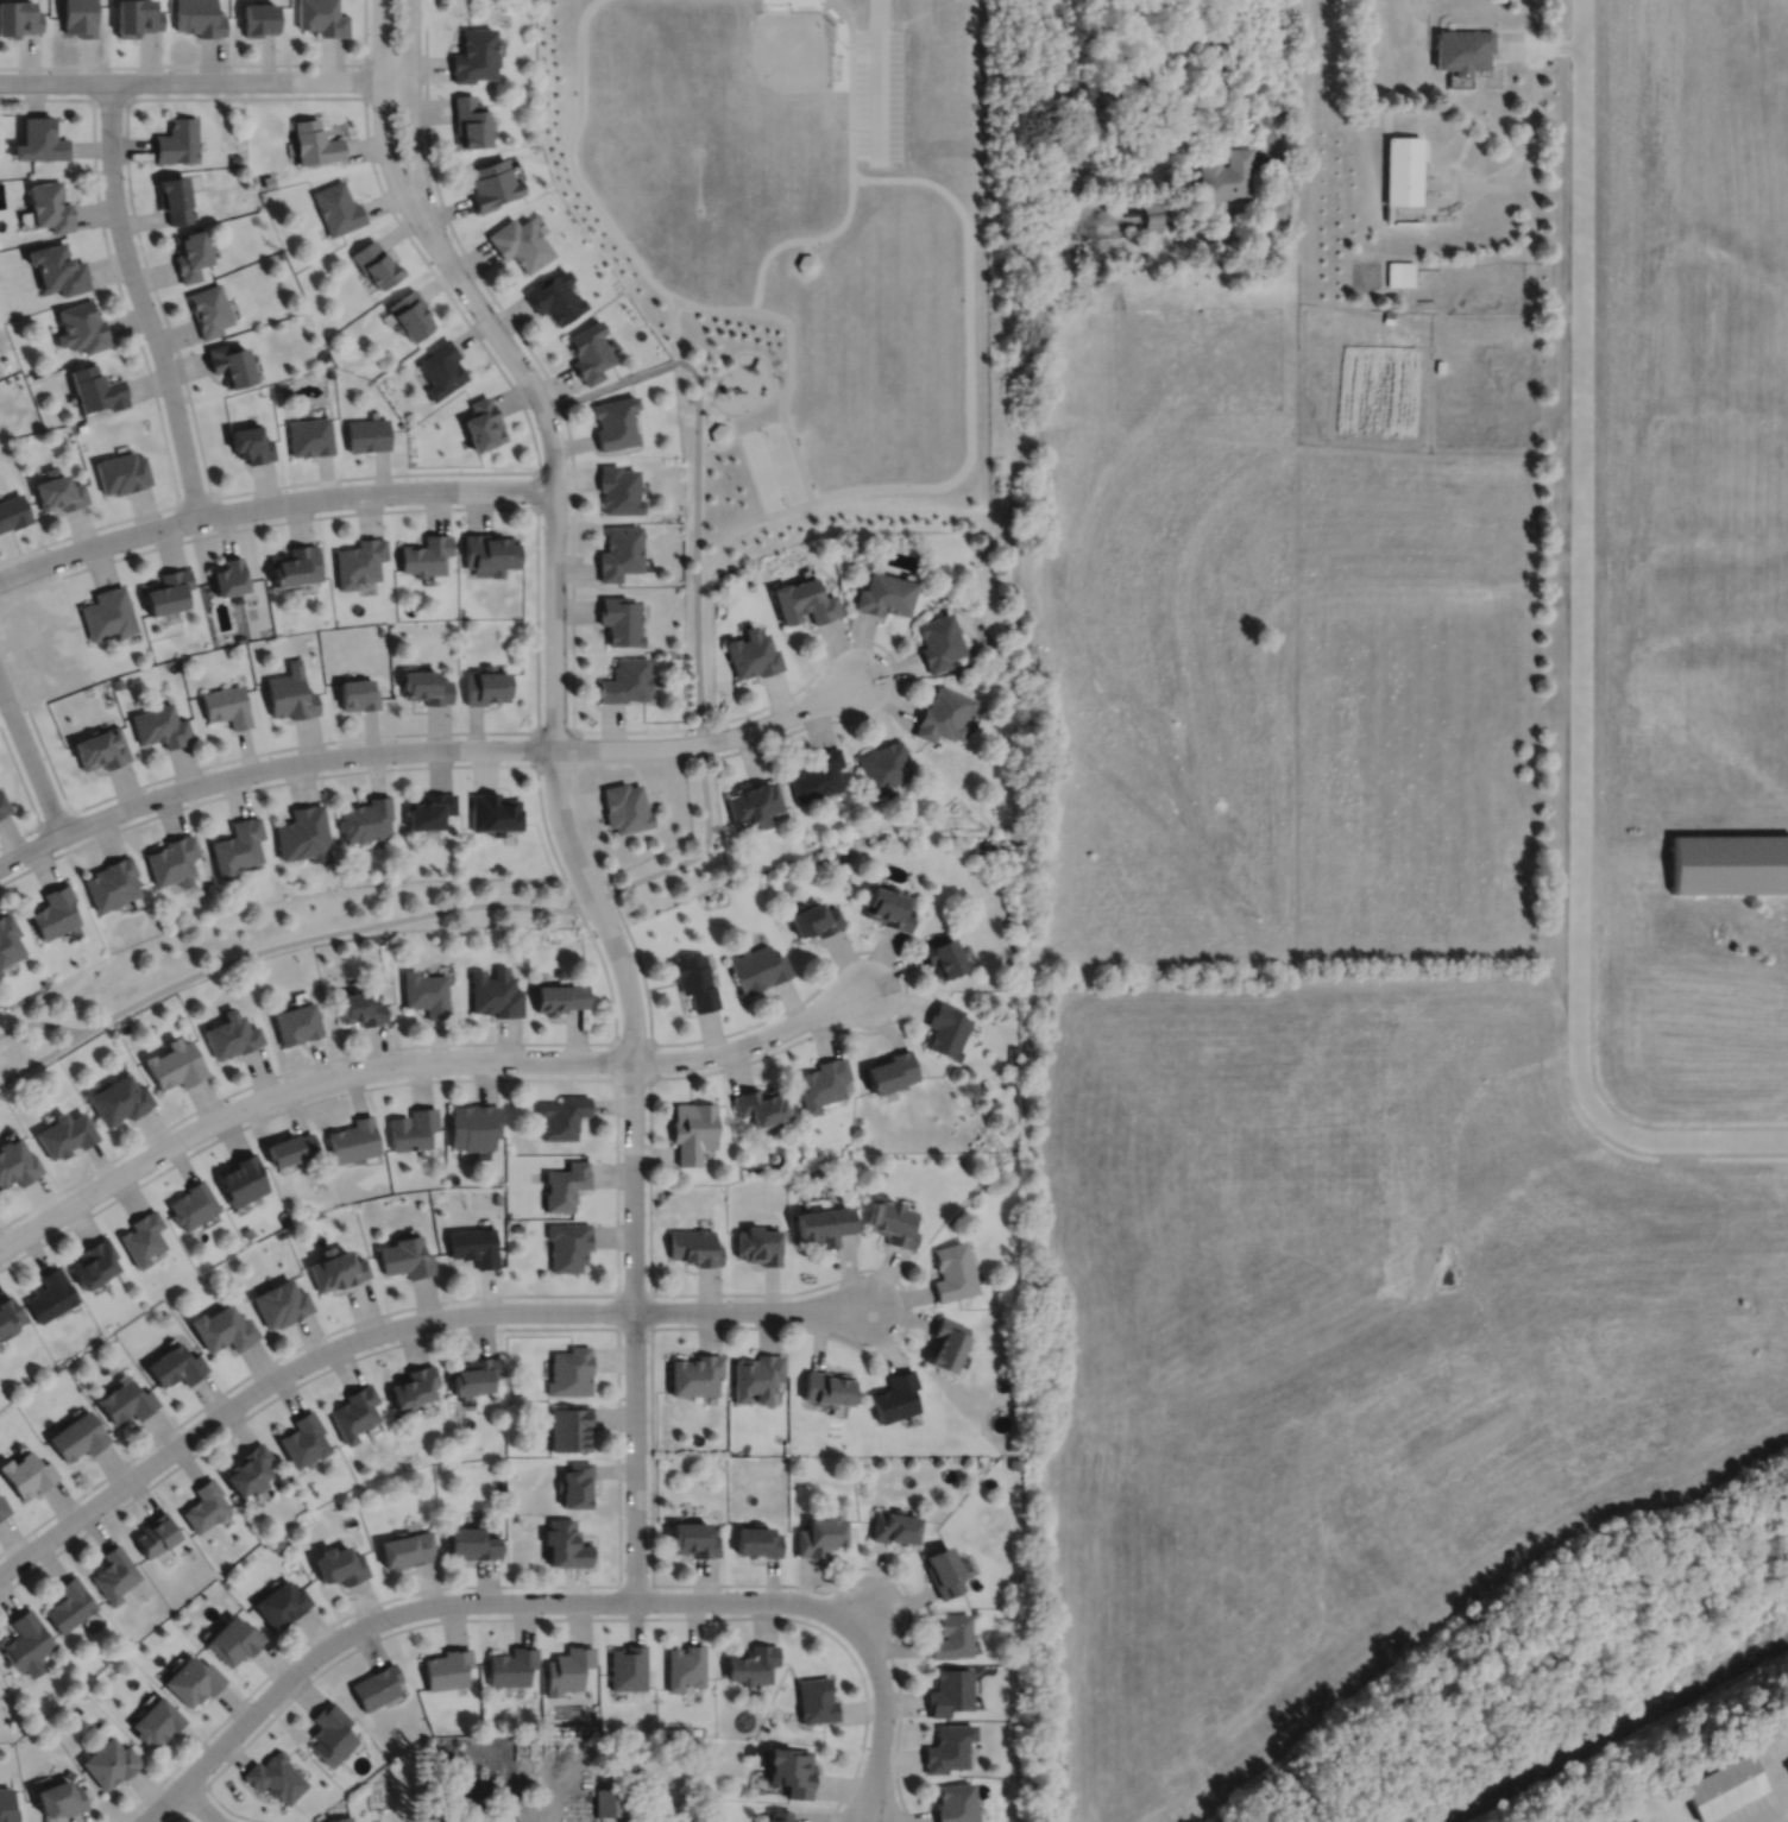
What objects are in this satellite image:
building: (323, 15)
building: (19, 17)
building: (78, 17)
building: (138, 17)
building: (200, 17)
building: (260, 17)
building: (1463, 48)
building: (473, 53)
road: (213, 63)
road: (876, 76)
road: (365, 78)
road: (204, 80)
road: (1253, 89)
road: (1534, 92)
road: (109, 97)
road: (409, 106)
road: (380, 111)
building: (468, 120)
building: (39, 138)
building: (176, 139)
building: (315, 140)
building: (1403, 169)
building: (1227, 175)
building: (267, 179)
building: (491, 183)
building: (174, 197)
building: (50, 206)
building: (336, 207)
building: (1273, 208)
building: (1153, 214)
building: (520, 241)
building: (279, 253)
building: (190, 254)
building: (376, 263)
building: (57, 269)
building: (1399, 272)
building: (554, 297)
road: (141, 300)
building: (208, 309)
building: (410, 315)
building: (82, 327)
road: (140, 346)
building: (588, 352)
building: (231, 364)
park: (729, 367)
building: (441, 368)
building: (32, 372)
building: (329, 372)
road: (714, 376)
road: (785, 383)
building: (97, 389)
road: (704, 389)
road: (777, 391)
road: (1579, 408)
building: (616, 422)
building: (484, 424)
road: (729, 424)
building: (81, 427)
building: (718, 431)
building: (367, 435)
building: (309, 436)
road: (707, 437)
building: (251, 443)
park: (772, 465)
building: (122, 473)
road: (697, 474)
road: (254, 487)
road: (536, 488)
building: (619, 490)
building: (58, 491)
road: (195, 498)
road: (271, 503)
building: (13, 512)
building: (619, 553)
building: (491, 554)
building: (426, 556)
building: (359, 562)
building: (296, 567)
building: (228, 579)
building: (883, 591)
building: (168, 593)
building: (801, 598)
building: (107, 614)
building: (619, 617)
building: (451, 624)
building: (378, 629)
building: (239, 637)
building: (938, 638)
building: (750, 650)
road: (536, 672)
building: (625, 677)
building: (115, 681)
building: (485, 682)
building: (424, 683)
building: (288, 691)
building: (357, 691)
building: (225, 704)
building: (943, 712)
building: (157, 723)
road: (537, 730)
road: (712, 739)
building: (97, 746)
road: (30, 759)
building: (883, 764)
road: (269, 767)
building: (817, 773)
road: (27, 796)
building: (753, 801)
building: (2, 802)
building: (624, 805)
building: (429, 808)
building: (493, 811)
building: (365, 817)
road: (55, 818)
building: (302, 831)
building: (984, 840)
building: (235, 844)
building: (171, 858)
building: (1729, 860)
building: (109, 881)
road: (588, 888)
building: (888, 906)
road: (441, 908)
building: (51, 909)
building: (813, 918)
building: (7, 937)
road: (596, 947)
building: (942, 954)
building: (756, 966)
building: (0, 972)
building: (559, 972)
road: (1576, 972)
road: (825, 978)
building: (692, 979)
building: (424, 991)
building: (495, 991)
building: (559, 996)
building: (359, 1007)
building: (295, 1022)
building: (945, 1028)
road: (74, 1034)
building: (229, 1034)
road: (615, 1041)
road: (753, 1041)
building: (1013, 1053)
building: (174, 1064)
building: (889, 1071)
building: (820, 1083)
road: (296, 1085)
building: (117, 1098)
building: (758, 1104)
building: (561, 1115)
building: (472, 1126)
building: (413, 1128)
building: (691, 1129)
building: (64, 1133)
building: (353, 1139)
road: (1695, 1139)
building: (290, 1148)
building: (17, 1162)
building: (240, 1178)
building: (565, 1185)
building: (497, 1198)
road: (616, 1199)
building: (1677, 1202)
building: (190, 1204)
building: (821, 1224)
building: (890, 1224)
building: (516, 1227)
building: (247, 1231)
building: (279, 1232)
building: (141, 1237)
building: (567, 1244)
building: (756, 1244)
building: (473, 1246)
building: (693, 1247)
building: (407, 1257)
building: (93, 1263)
building: (335, 1269)
building: (951, 1272)
building: (49, 1295)
building: (281, 1304)
road: (750, 1309)
building: (7, 1316)
road: (650, 1325)
building: (222, 1329)
building: (946, 1339)
building: (175, 1367)
road: (289, 1367)
building: (571, 1368)
building: (693, 1370)
building: (474, 1372)
building: (756, 1373)
building: (414, 1381)
building: (827, 1385)
building: (516, 1387)
building: (895, 1393)
building: (125, 1402)
road: (617, 1402)
building: (354, 1410)
building: (571, 1425)
building: (303, 1436)
building: (77, 1437)
building: (975, 1461)
building: (1014, 1461)
building: (248, 1467)
building: (26, 1475)
building: (281, 1475)
building: (577, 1481)
building: (204, 1502)
building: (2, 1508)
building: (895, 1524)
building: (155, 1531)
building: (819, 1532)
building: (692, 1536)
building: (757, 1538)
building: (473, 1539)
building: (567, 1542)
building: (277, 1543)
building: (408, 1546)
building: (340, 1562)
building: (944, 1569)
building: (114, 1572)
road: (635, 1583)
building: (282, 1601)
building: (69, 1602)
road: (415, 1607)
road: (554, 1616)
building: (951, 1633)
building: (233, 1638)
building: (26, 1641)
road: (877, 1662)
building: (753, 1663)
building: (511, 1664)
building: (686, 1664)
building: (628, 1665)
building: (446, 1666)
building: (567, 1666)
building: (191, 1678)
building: (376, 1684)
building: (950, 1689)
building: (817, 1698)
building: (156, 1720)
railway: (1612, 1728)
building: (329, 1732)
building: (947, 1746)
building: (111, 1760)
building: (1787, 1765)
building: (791, 1770)
building: (273, 1776)
building: (1720, 1784)
road: (1775, 1784)
building: (59, 1797)
road: (189, 1797)
building: (613, 1799)
building: (956, 1802)
road: (199, 1803)
building: (7, 1805)
road: (180, 1814)
building: (777, 1816)
building: (338, 1818)

